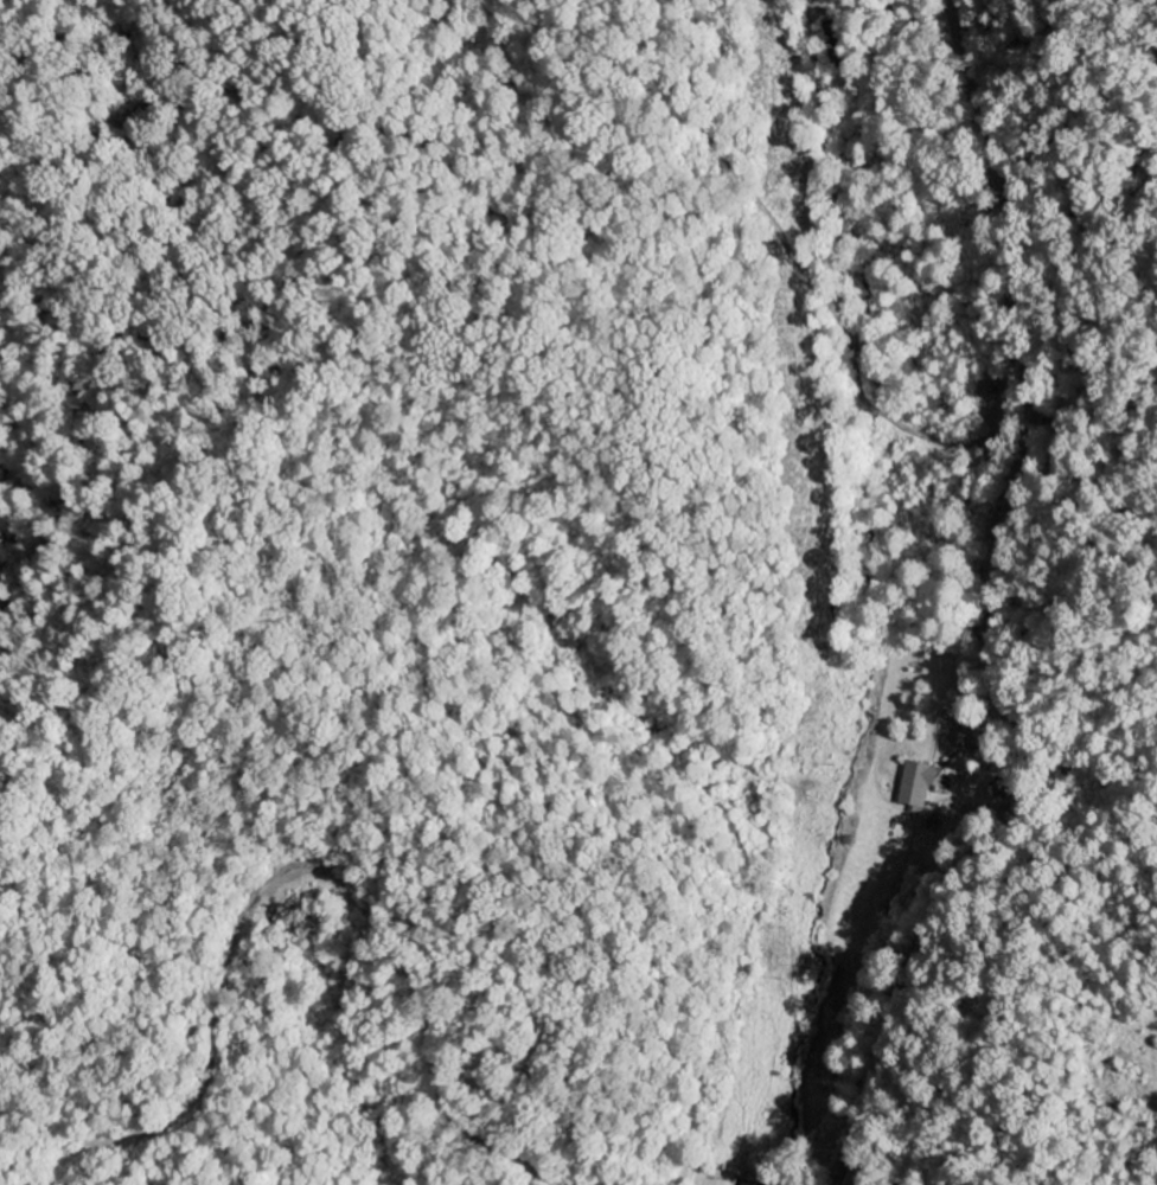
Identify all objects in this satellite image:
road: (50, 495)
road: (990, 620)
building: (914, 786)

